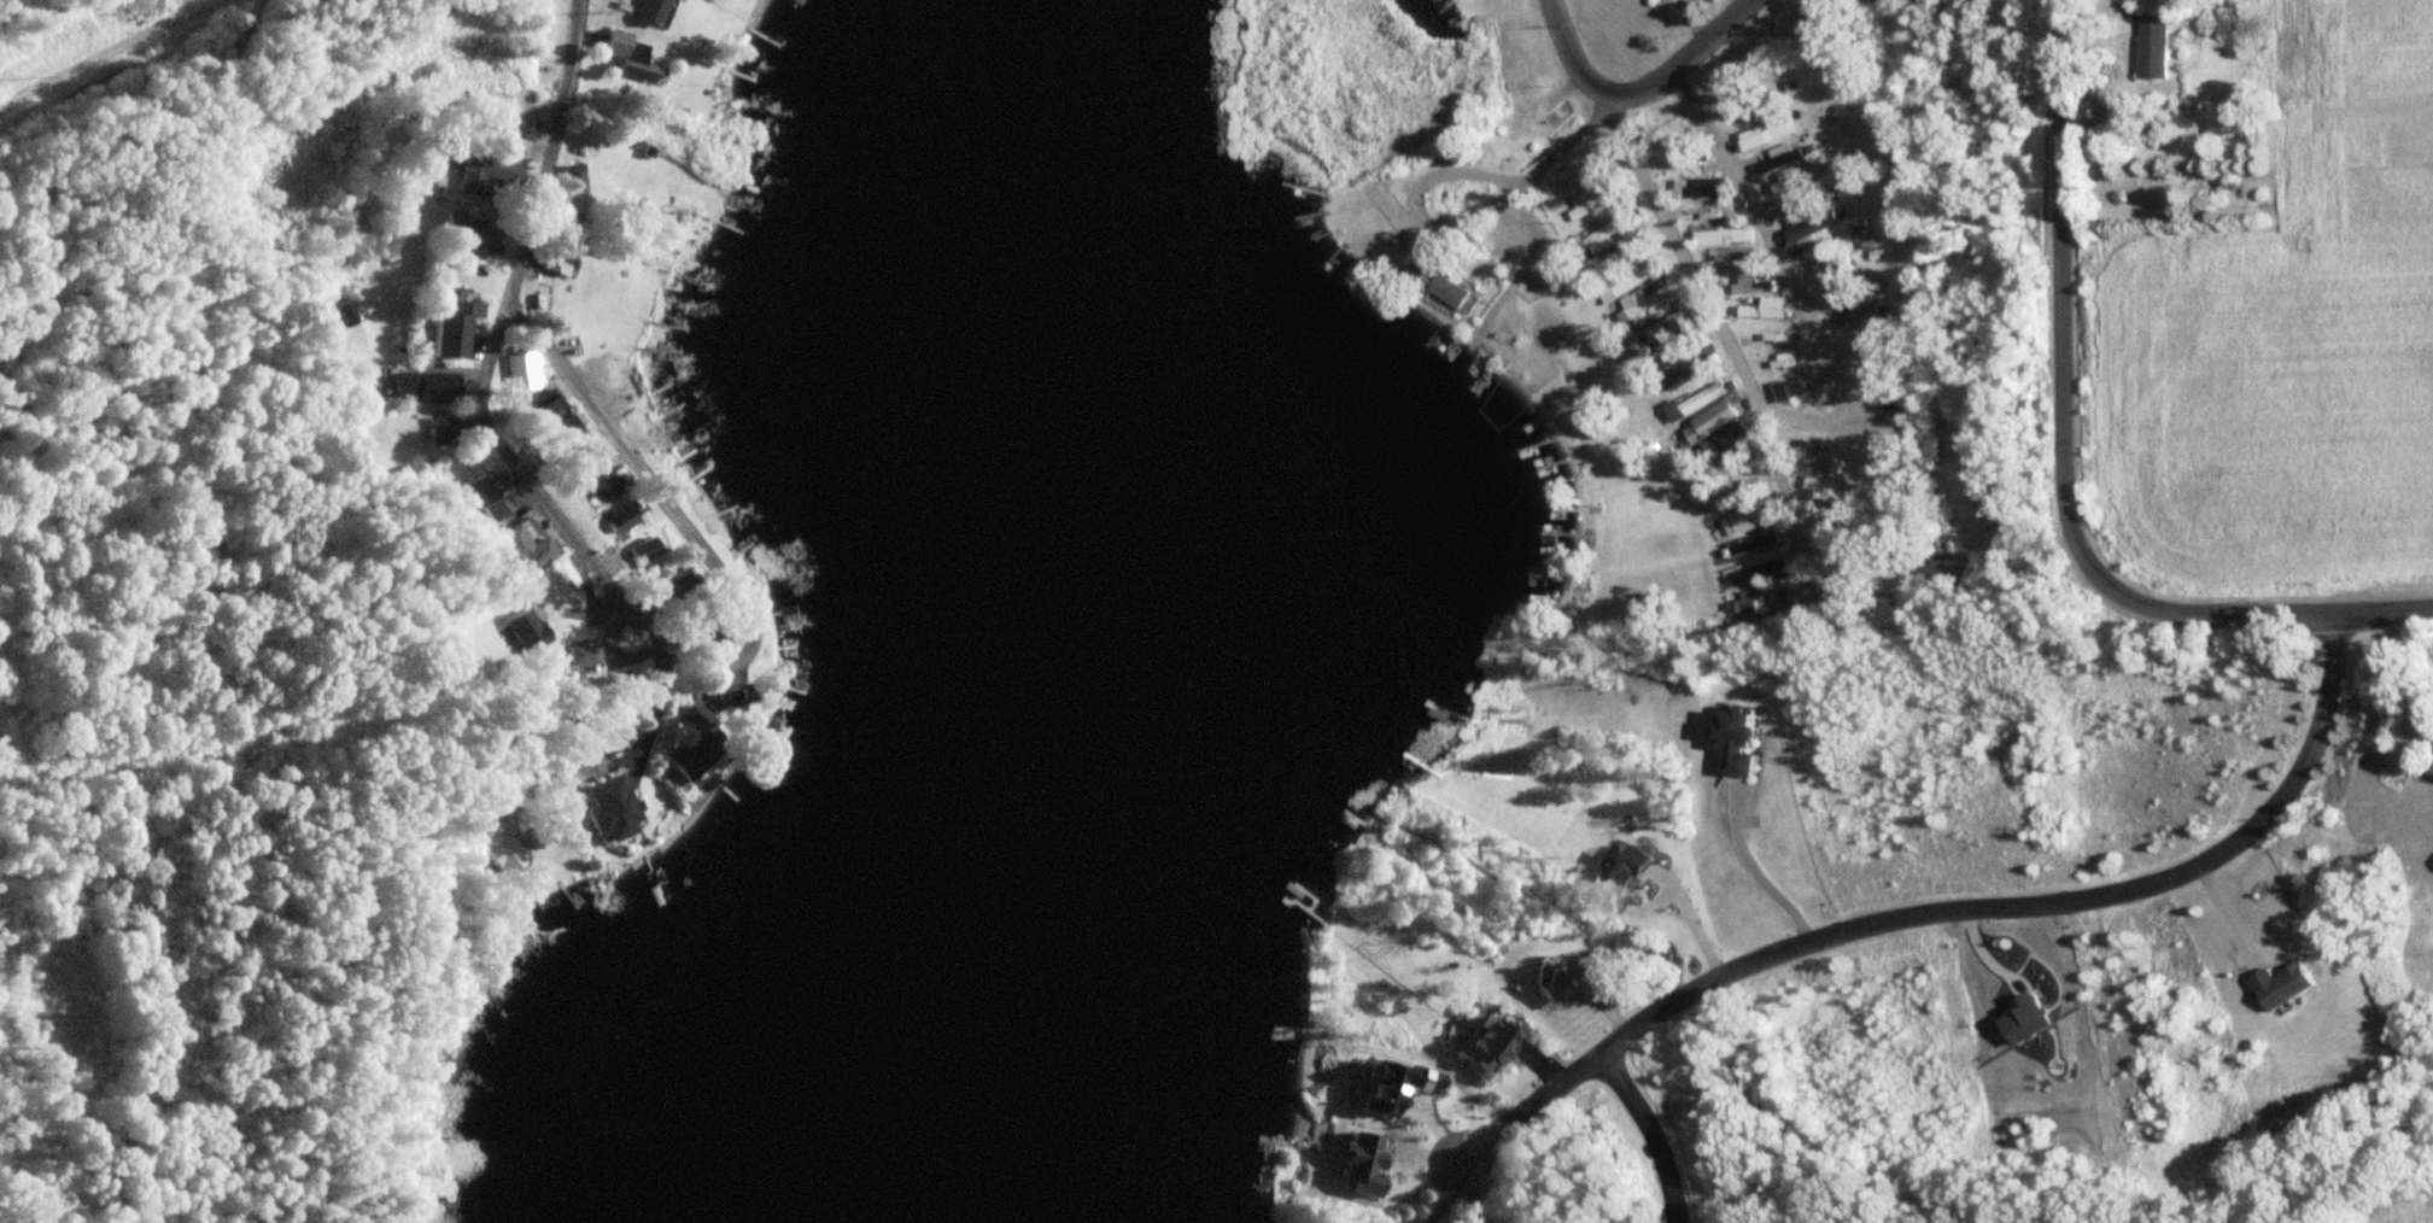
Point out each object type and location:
building: (648, 12)
building: (2157, 48)
road: (1567, 49)
road: (104, 51)
building: (627, 58)
road: (1685, 62)
building: (525, 129)
building: (1768, 137)
road: (549, 162)
building: (1782, 162)
building: (489, 175)
building: (573, 177)
road: (1513, 185)
building: (1701, 191)
building: (1589, 205)
building: (1709, 216)
road: (1521, 222)
road: (1765, 229)
building: (1814, 230)
building: (1603, 236)
building: (473, 238)
building: (1714, 241)
road: (2063, 251)
building: (558, 262)
building: (1724, 262)
building: (1609, 263)
building: (1829, 271)
building: (1416, 277)
building: (1748, 286)
building: (1621, 288)
building: (1452, 293)
building: (1837, 297)
building: (1749, 314)
building: (1859, 317)
building: (1668, 324)
building: (455, 326)
road: (1726, 334)
building: (1773, 337)
building: (1684, 349)
building: (1872, 349)
building: (1779, 362)
road: (484, 363)
building: (522, 371)
building: (425, 387)
building: (1790, 392)
building: (546, 405)
road: (1815, 420)
building: (1715, 421)
building: (567, 431)
building: (440, 432)
building: (1721, 447)
road: (1917, 466)
building: (596, 475)
building: (484, 498)
building: (618, 520)
building: (1747, 521)
building: (522, 545)
building: (1747, 548)
building: (638, 552)
building: (1833, 569)
building: (1761, 574)
building: (1954, 577)
building: (672, 590)
building: (1764, 607)
road: (2218, 615)
road: (754, 628)
building: (522, 633)
building: (708, 637)
building: (578, 656)
building: (1739, 741)
building: (691, 754)
building: (2429, 760)
road: (574, 768)
building: (604, 808)
building: (496, 849)
road: (1761, 873)
road: (1953, 908)
building: (1565, 981)
building: (1491, 1044)
road: (1653, 1131)
road: (1474, 1190)

